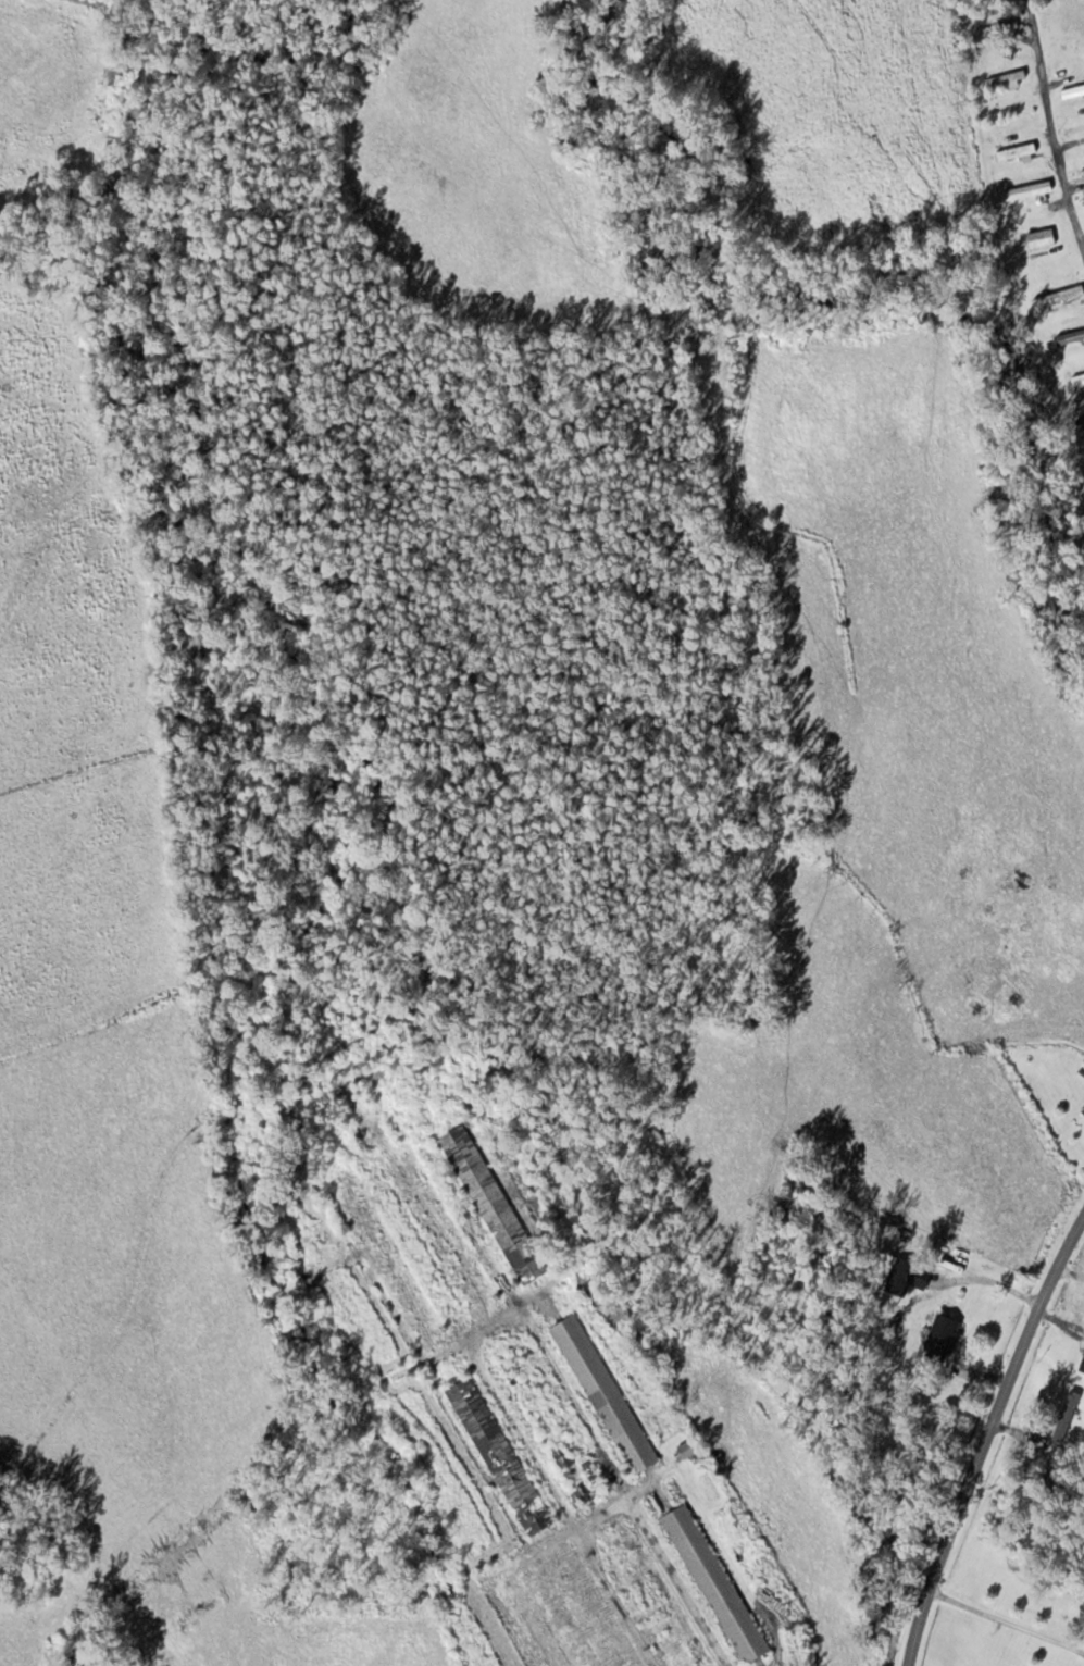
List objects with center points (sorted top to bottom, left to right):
building: (996, 5)
building: (1007, 77)
building: (1073, 91)
road: (1059, 113)
building: (1030, 189)
building: (1083, 197)
building: (1043, 237)
building: (1059, 295)
building: (1072, 336)
building: (1079, 380)
building: (1083, 1111)
building: (494, 1204)
building: (441, 1235)
building: (389, 1268)
building: (944, 1343)
building: (605, 1394)
building: (1072, 1401)
building: (553, 1426)
road: (984, 1437)
building: (500, 1456)
building: (717, 1583)
building: (649, 1590)
building: (595, 1616)
building: (537, 1632)

